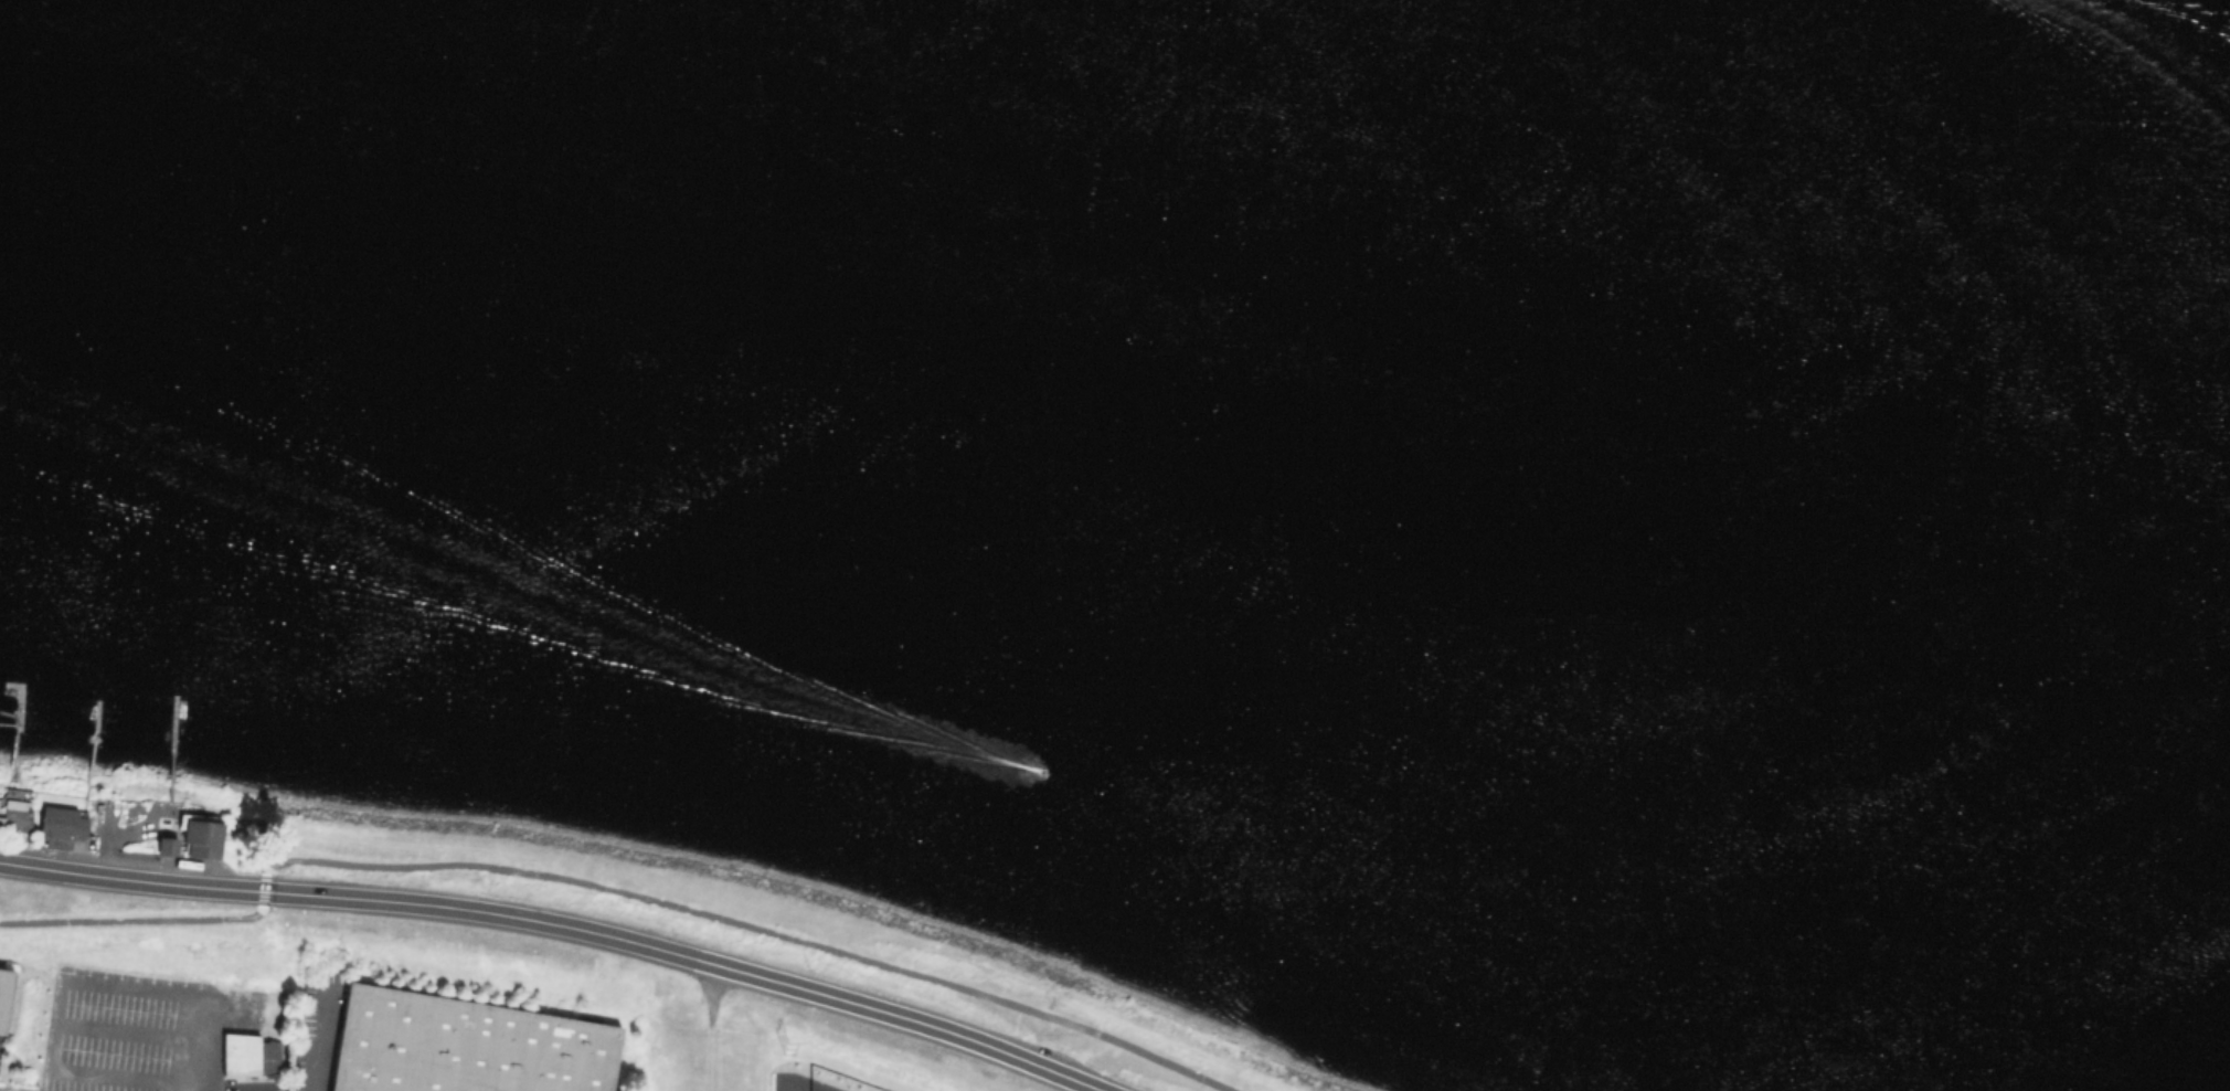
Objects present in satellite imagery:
building: (17, 813)
building: (1, 818)
building: (64, 820)
building: (206, 834)
building: (170, 844)
road: (131, 880)
road: (140, 920)
road: (746, 924)
road: (689, 956)
road: (62, 978)
building: (6, 993)
road: (711, 1027)
road: (124, 1029)
building: (470, 1045)
building: (248, 1055)
road: (183, 1087)

